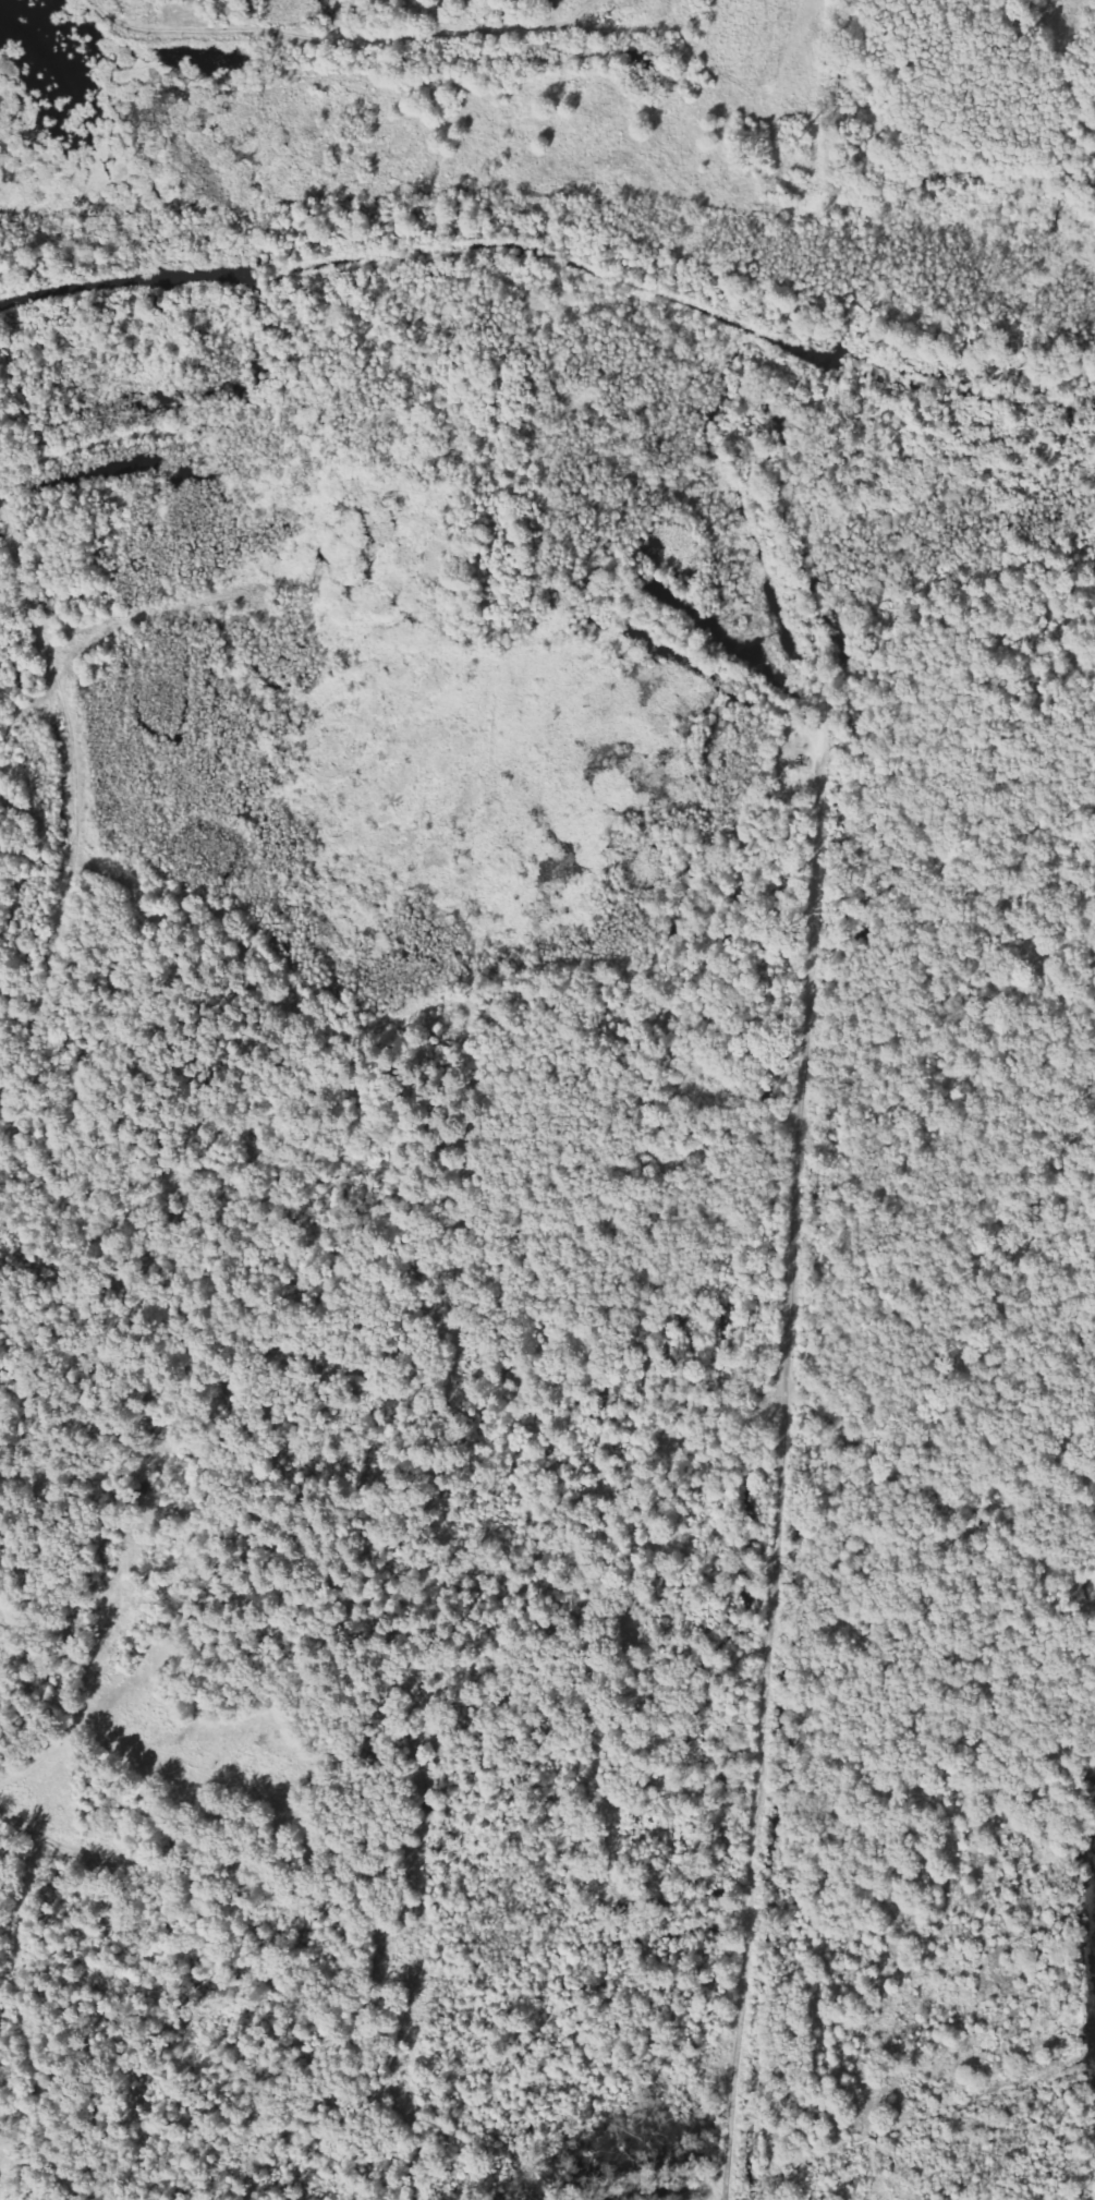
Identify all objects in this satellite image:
road: (1059, 73)

